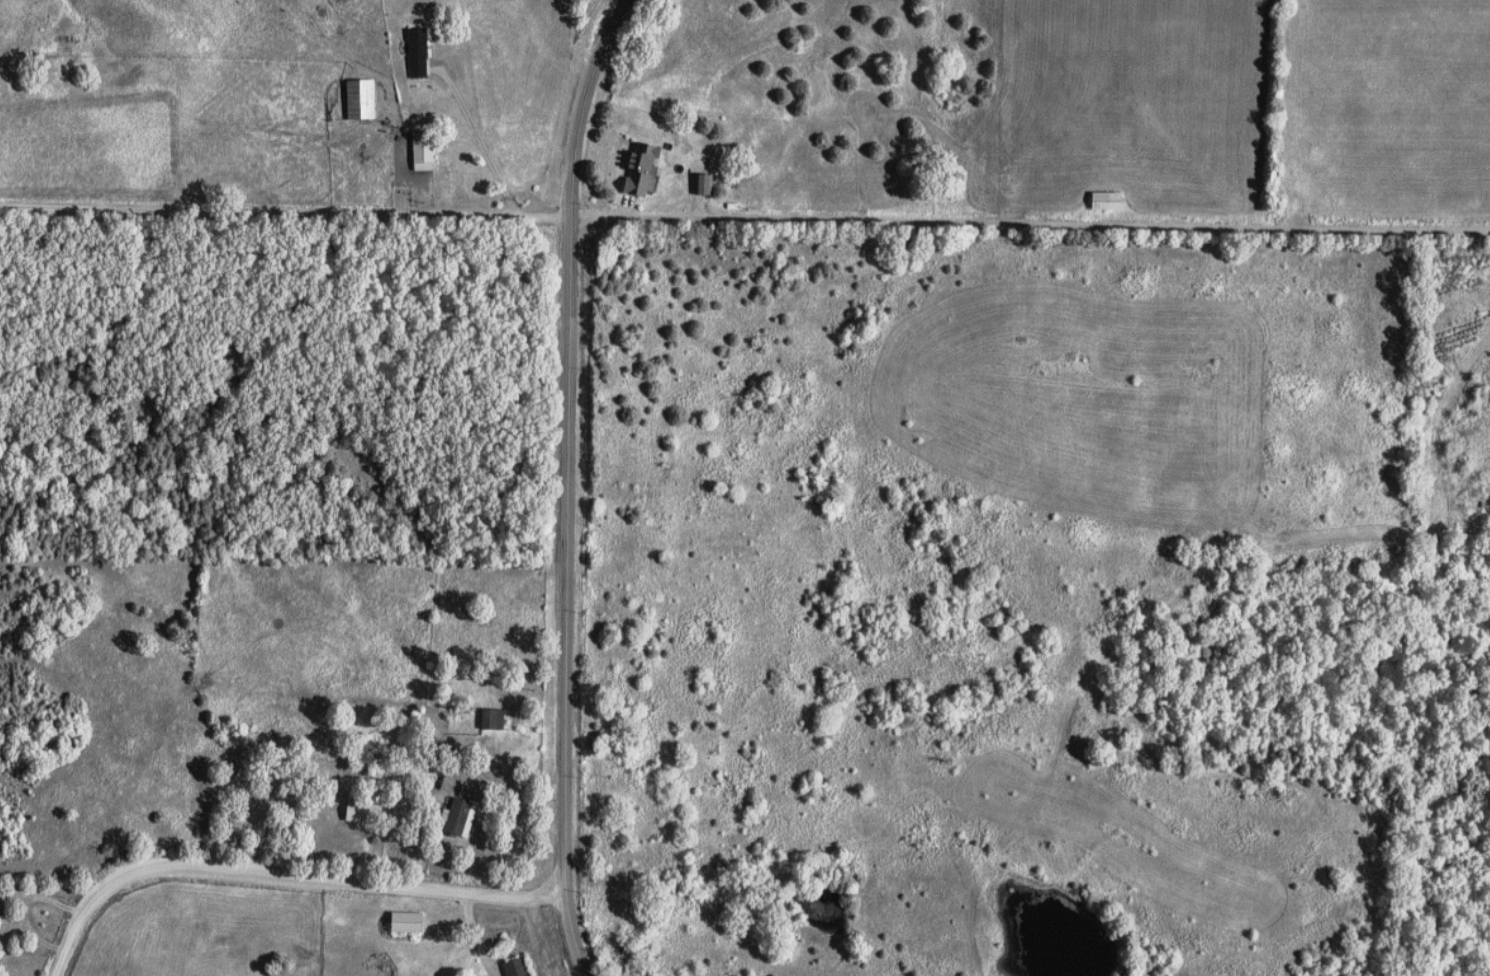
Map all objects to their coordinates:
building: (417, 52)
building: (360, 98)
road: (486, 143)
building: (421, 150)
building: (639, 167)
building: (702, 183)
building: (1105, 199)
road: (744, 217)
road: (575, 484)
building: (492, 718)
road: (516, 785)
building: (359, 811)
building: (458, 817)
road: (289, 878)
building: (1, 903)
building: (405, 922)
building: (518, 967)

